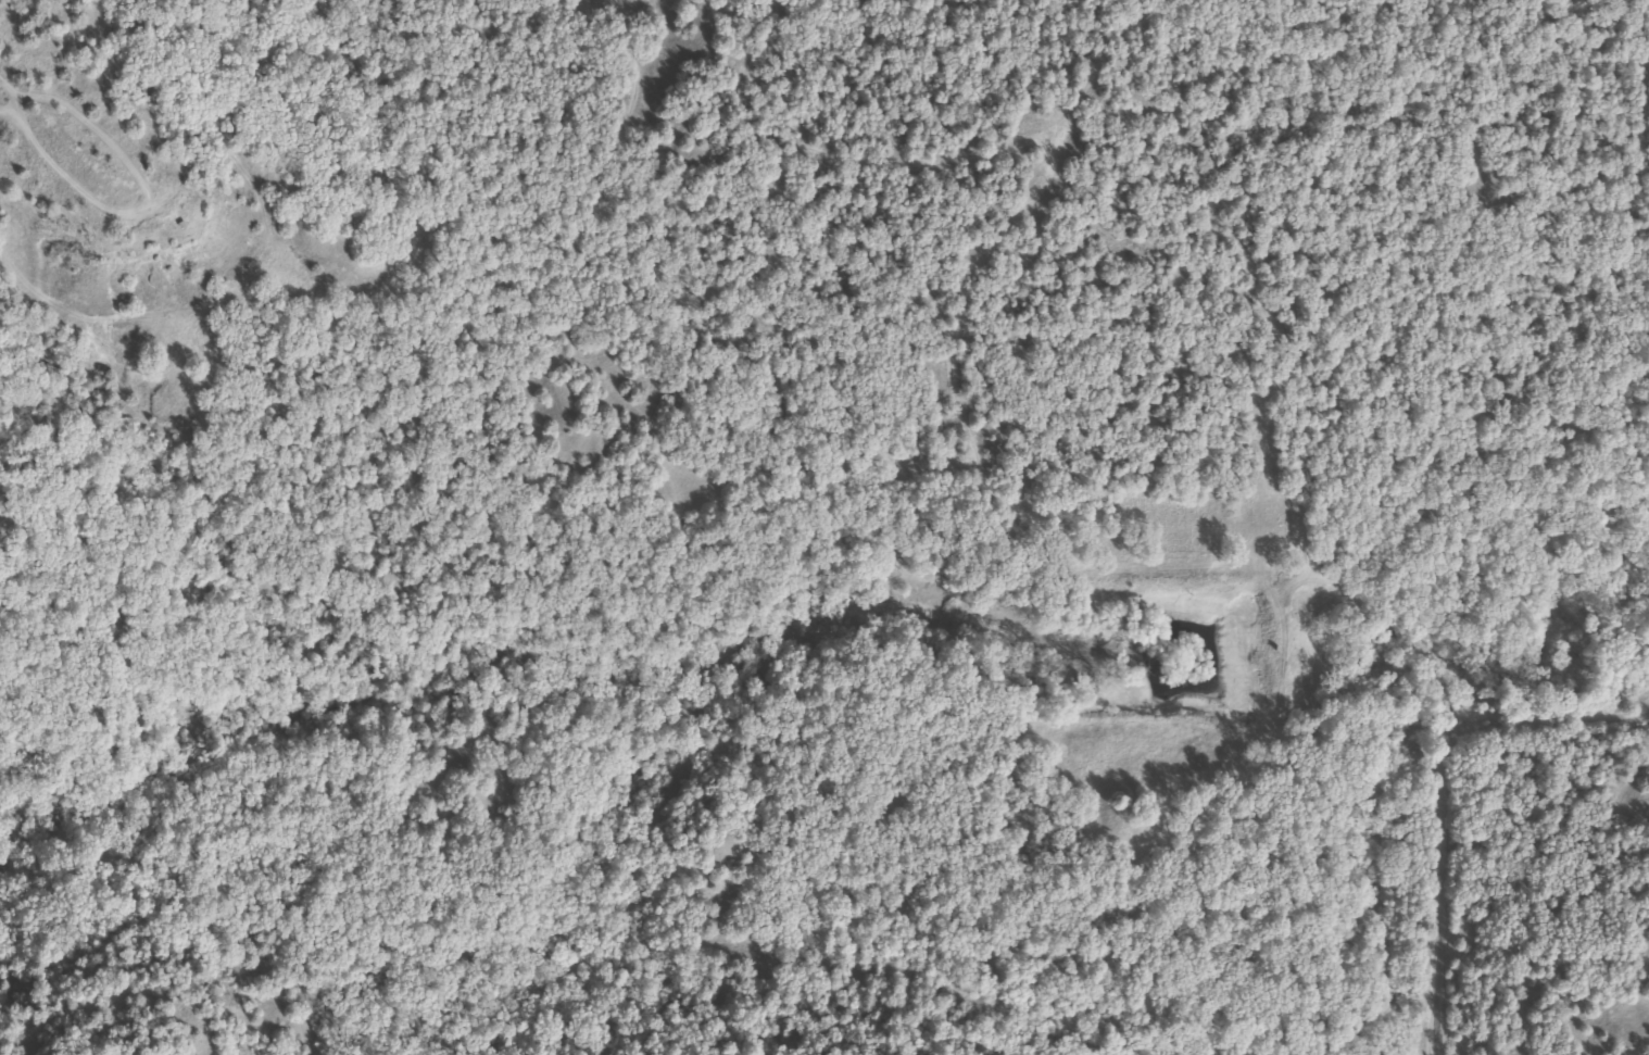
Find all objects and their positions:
road: (1450, 834)

